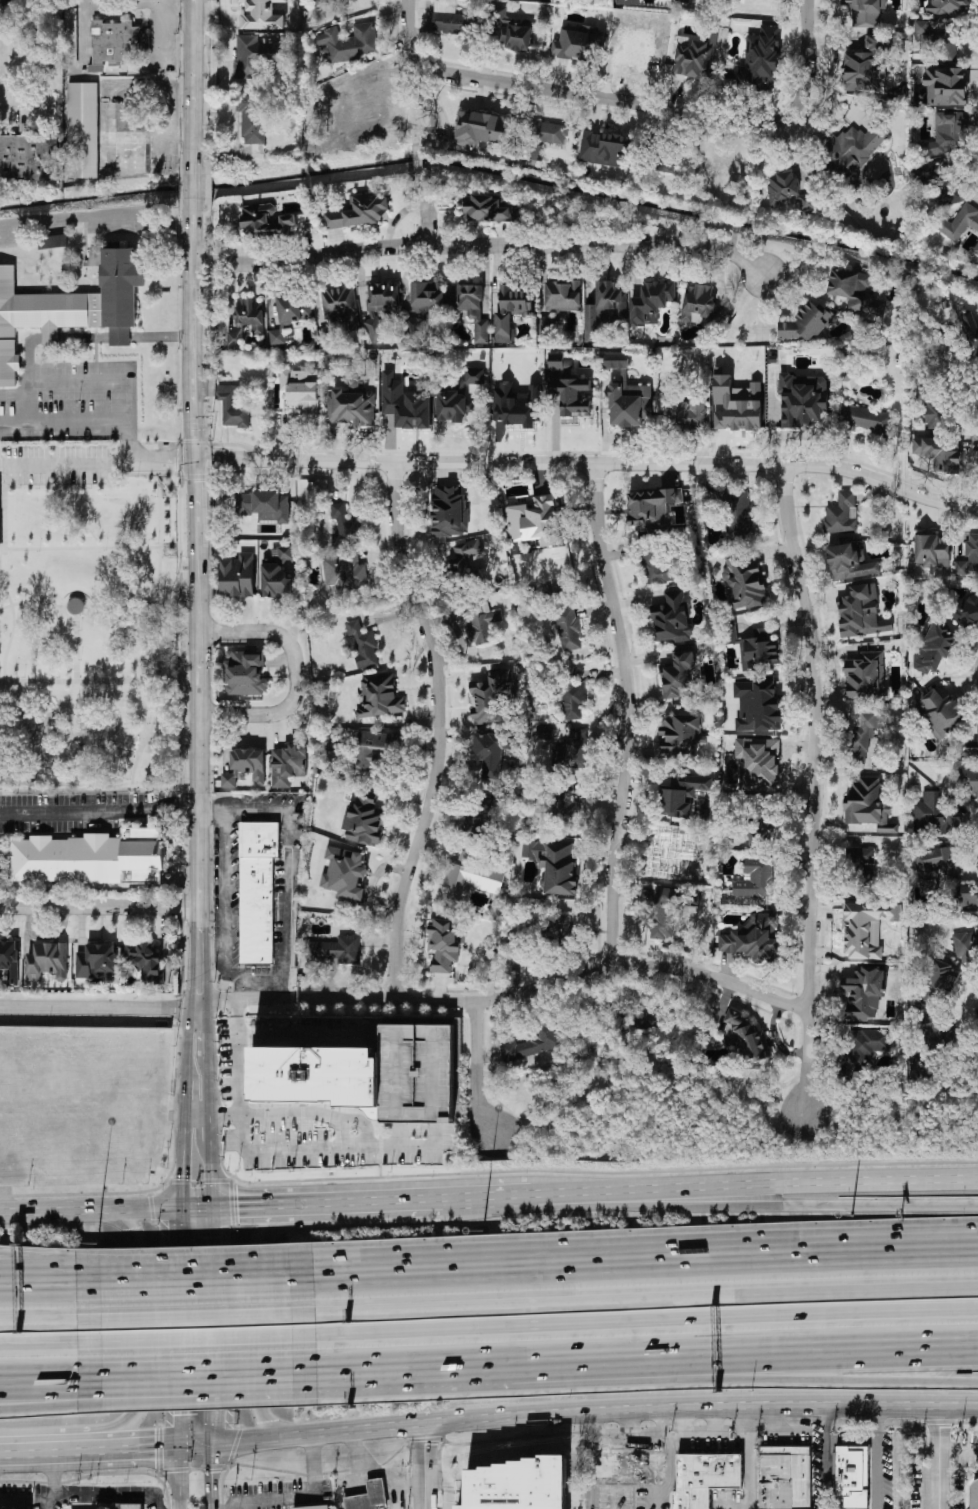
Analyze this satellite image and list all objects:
road: (149, 1)
building: (324, 1)
building: (627, 2)
building: (947, 6)
building: (865, 11)
building: (261, 14)
building: (450, 18)
road: (177, 23)
building: (512, 30)
road: (82, 34)
building: (70, 35)
building: (938, 41)
building: (114, 42)
building: (349, 42)
building: (574, 44)
building: (696, 54)
building: (254, 55)
road: (809, 56)
building: (760, 59)
building: (868, 63)
road: (424, 66)
road: (197, 83)
building: (946, 85)
road: (18, 101)
road: (612, 102)
building: (253, 121)
road: (167, 125)
building: (479, 128)
building: (82, 129)
building: (549, 132)
building: (947, 133)
building: (850, 147)
building: (603, 148)
road: (419, 153)
building: (28, 156)
building: (942, 180)
road: (195, 184)
building: (788, 190)
road: (421, 208)
building: (487, 208)
building: (361, 209)
road: (98, 215)
building: (265, 221)
building: (959, 222)
building: (53, 241)
road: (485, 246)
building: (976, 248)
building: (121, 291)
building: (855, 291)
building: (384, 295)
building: (562, 297)
building: (651, 301)
building: (700, 303)
building: (341, 305)
building: (605, 305)
building: (473, 309)
building: (510, 311)
building: (249, 313)
building: (290, 313)
building: (36, 317)
building: (807, 323)
building: (971, 326)
building: (374, 328)
road: (162, 336)
road: (51, 337)
road: (85, 337)
road: (121, 337)
building: (234, 338)
road: (29, 355)
building: (560, 364)
building: (850, 379)
road: (119, 383)
building: (301, 389)
building: (571, 395)
building: (627, 395)
building: (457, 396)
building: (802, 399)
building: (405, 403)
parking lot: (71, 404)
building: (516, 404)
building: (736, 404)
building: (351, 405)
building: (232, 406)
building: (931, 407)
building: (687, 412)
building: (862, 418)
road: (13, 420)
building: (938, 453)
parking lot: (54, 463)
road: (589, 463)
road: (144, 464)
road: (70, 465)
building: (263, 504)
building: (651, 507)
building: (448, 510)
building: (842, 513)
road: (3, 514)
building: (0, 516)
building: (739, 517)
building: (534, 520)
building: (346, 525)
building: (931, 549)
road: (80, 553)
building: (461, 555)
building: (968, 556)
building: (850, 561)
building: (658, 568)
building: (276, 572)
building: (345, 573)
building: (238, 575)
building: (743, 583)
road: (119, 594)
road: (85, 604)
road: (30, 605)
road: (195, 605)
building: (965, 609)
building: (862, 611)
building: (673, 616)
building: (568, 628)
road: (11, 635)
park: (94, 639)
building: (362, 644)
building: (934, 647)
road: (156, 650)
building: (759, 650)
road: (74, 656)
building: (245, 673)
road: (295, 673)
building: (679, 674)
building: (866, 676)
road: (90, 686)
building: (571, 693)
building: (379, 696)
building: (492, 696)
building: (757, 705)
building: (940, 710)
road: (630, 711)
road: (441, 730)
building: (544, 731)
building: (679, 733)
building: (860, 734)
building: (327, 740)
building: (373, 747)
building: (971, 748)
building: (573, 749)
building: (495, 754)
building: (249, 762)
building: (758, 763)
building: (287, 764)
building: (228, 779)
building: (970, 780)
road: (814, 787)
building: (683, 792)
building: (868, 804)
building: (566, 806)
road: (113, 811)
parking lot: (66, 813)
building: (934, 814)
building: (364, 817)
building: (480, 817)
road: (289, 828)
building: (672, 853)
building: (861, 855)
building: (93, 857)
building: (555, 863)
building: (924, 868)
building: (344, 872)
building: (472, 875)
building: (755, 878)
building: (258, 890)
building: (967, 897)
road: (98, 907)
building: (562, 925)
building: (753, 937)
building: (445, 942)
road: (210, 951)
building: (335, 951)
building: (9, 959)
building: (47, 960)
building: (96, 960)
building: (145, 962)
road: (559, 973)
building: (934, 983)
road: (260, 989)
building: (864, 993)
road: (238, 999)
road: (97, 1007)
building: (633, 1021)
road: (305, 1035)
building: (534, 1040)
building: (864, 1046)
road: (480, 1069)
building: (366, 1074)
road: (249, 1114)
road: (196, 1117)
road: (302, 1150)
traffic signals: (181, 1175)
road: (756, 1191)
road: (488, 1198)
road: (755, 1201)
road: (369, 1203)
road: (253, 1207)
traffic signals: (237, 1208)
road: (46, 1209)
road: (151, 1209)
traffic signals: (211, 1236)
road: (211, 1256)
road: (178, 1257)
road: (51, 1260)
road: (195, 1266)
road: (725, 1270)
road: (380, 1274)
road: (380, 1282)
road: (196, 1288)
road: (51, 1291)
road: (634, 1309)
road: (197, 1320)
road: (52, 1322)
road: (255, 1325)
road: (635, 1326)
road: (198, 1340)
road: (52, 1343)
road: (133, 1343)
road: (808, 1359)
road: (574, 1364)
road: (401, 1368)
road: (808, 1368)
road: (402, 1373)
road: (199, 1374)
road: (52, 1377)
road: (200, 1387)
road: (52, 1396)
road: (577, 1412)
traffic signals: (178, 1413)
road: (682, 1420)
road: (713, 1420)
road: (659, 1421)
road: (627, 1422)
road: (657, 1435)
road: (697, 1436)
traffic signals: (155, 1446)
road: (116, 1447)
road: (958, 1449)
road: (28, 1451)
road: (938, 1455)
road: (749, 1456)
road: (826, 1456)
road: (877, 1456)
building: (623, 1462)
road: (421, 1466)
building: (849, 1470)
traffic signals: (213, 1474)
road: (374, 1474)
building: (705, 1478)
building: (783, 1478)
road: (55, 1482)
road: (407, 1482)
road: (443, 1484)
building: (520, 1485)
road: (112, 1495)
road: (292, 1496)
building: (368, 1496)
building: (976, 1497)
road: (589, 1498)
road: (613, 1499)
road: (649, 1499)
road: (838, 1502)
road: (12, 1503)
building: (116, 1506)
building: (130, 1506)
road: (228, 1506)
building: (314, 1507)
road: (734, 1508)

